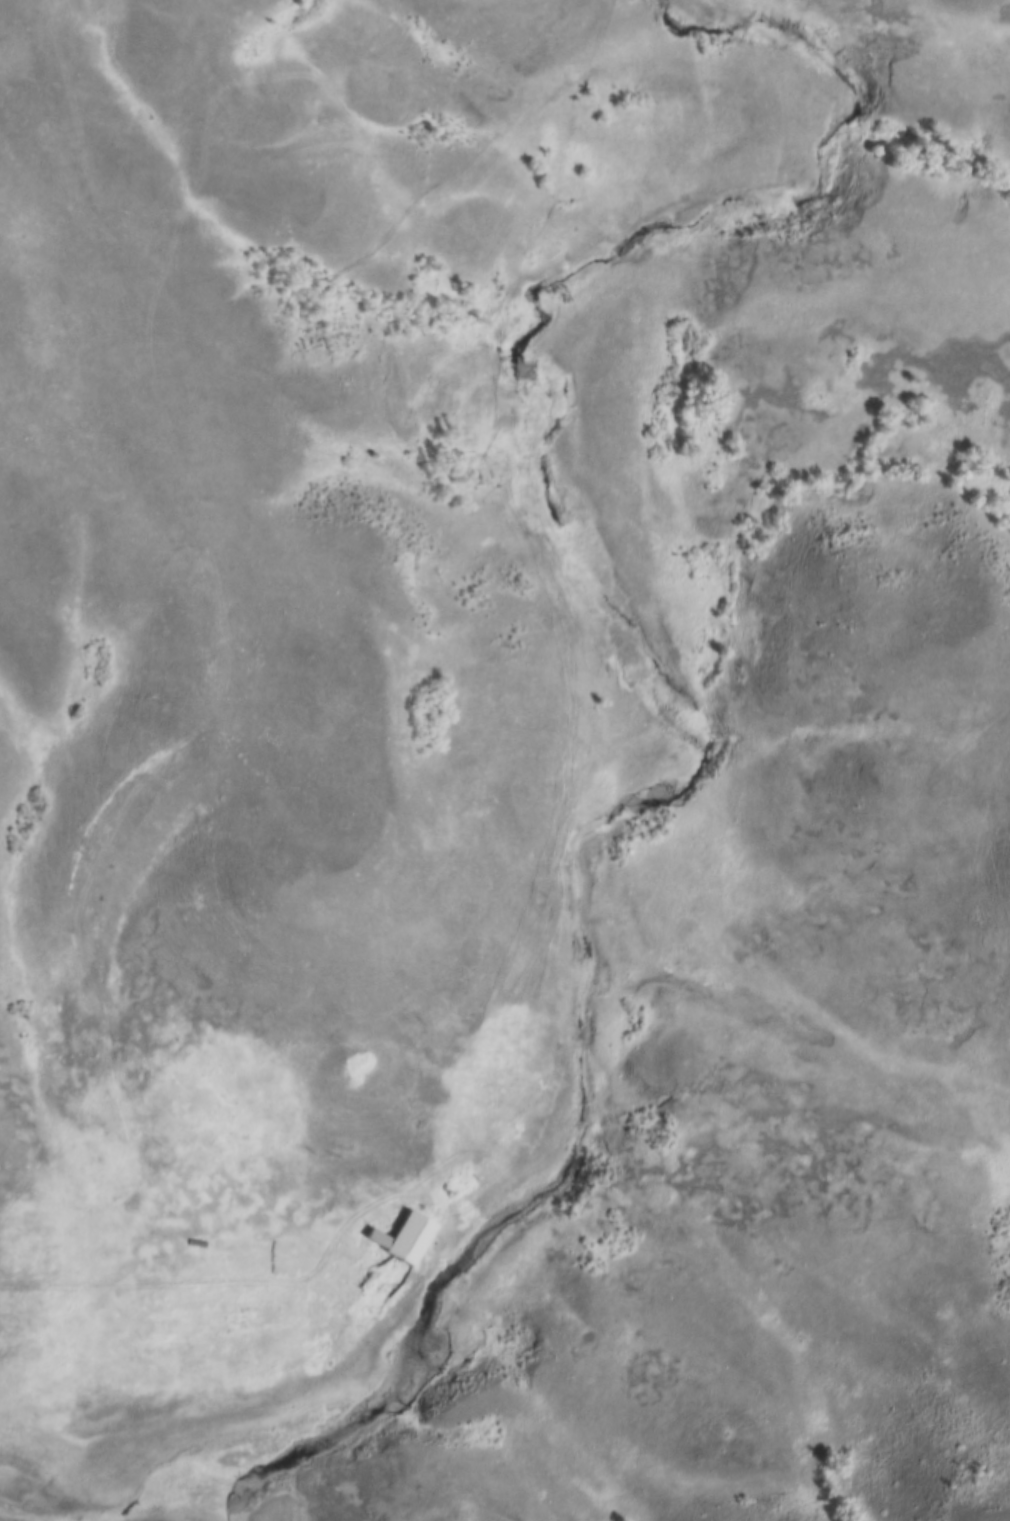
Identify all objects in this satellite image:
building: (522, 1096)
building: (414, 1238)
road: (76, 1285)

